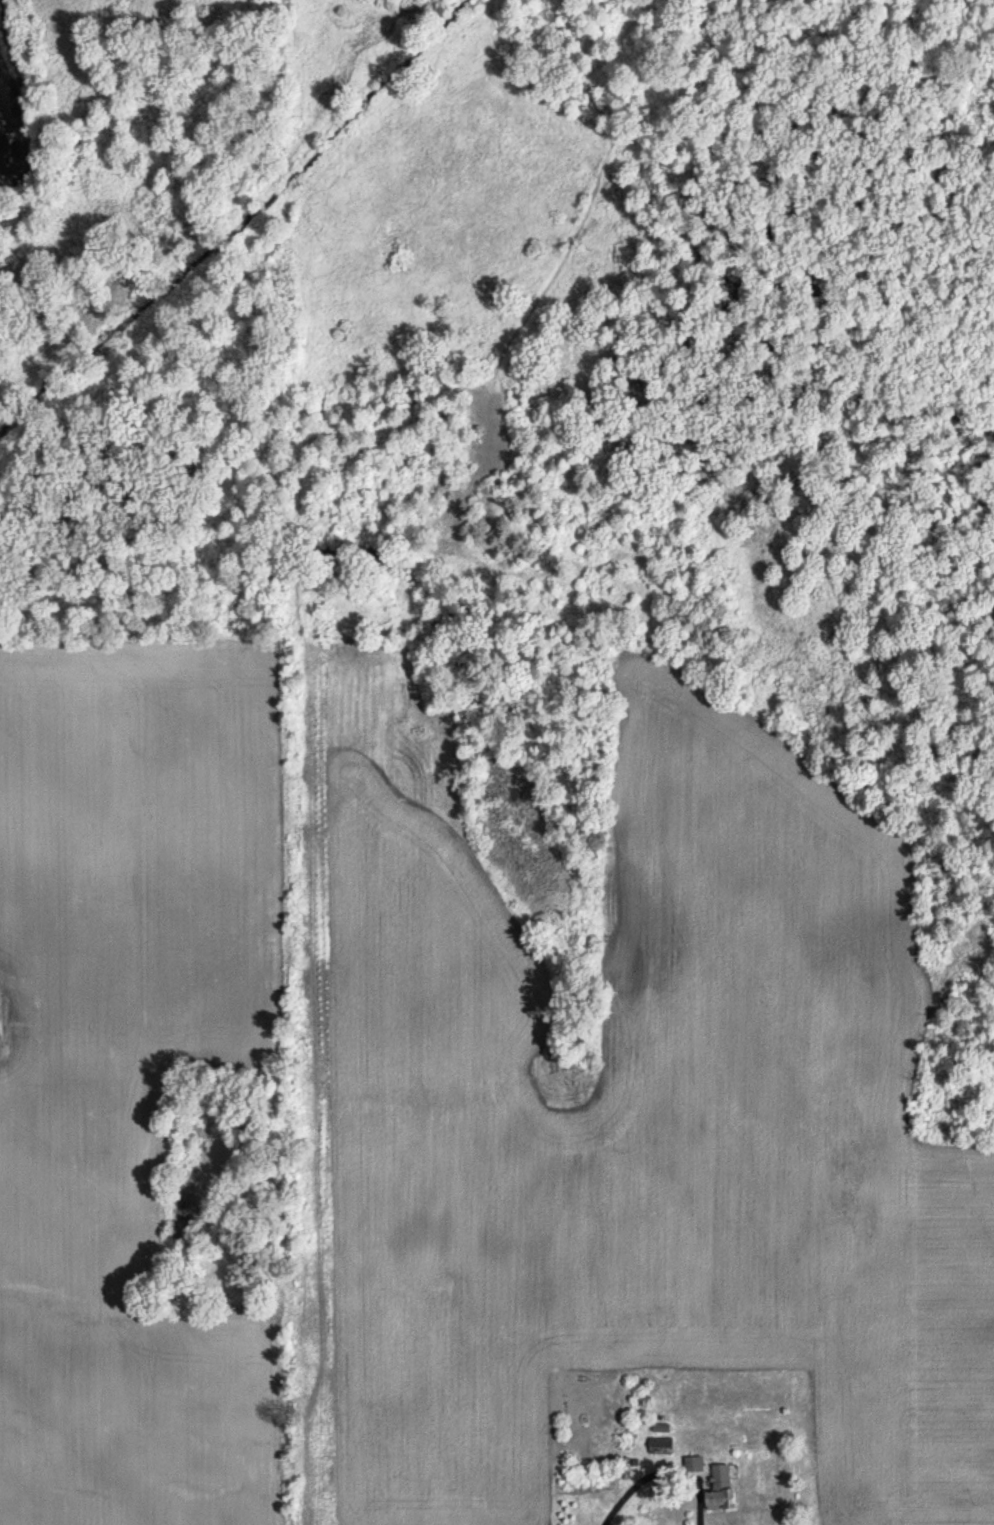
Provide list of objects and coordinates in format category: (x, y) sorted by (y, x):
building: (660, 1443)
building: (694, 1463)
building: (723, 1489)

